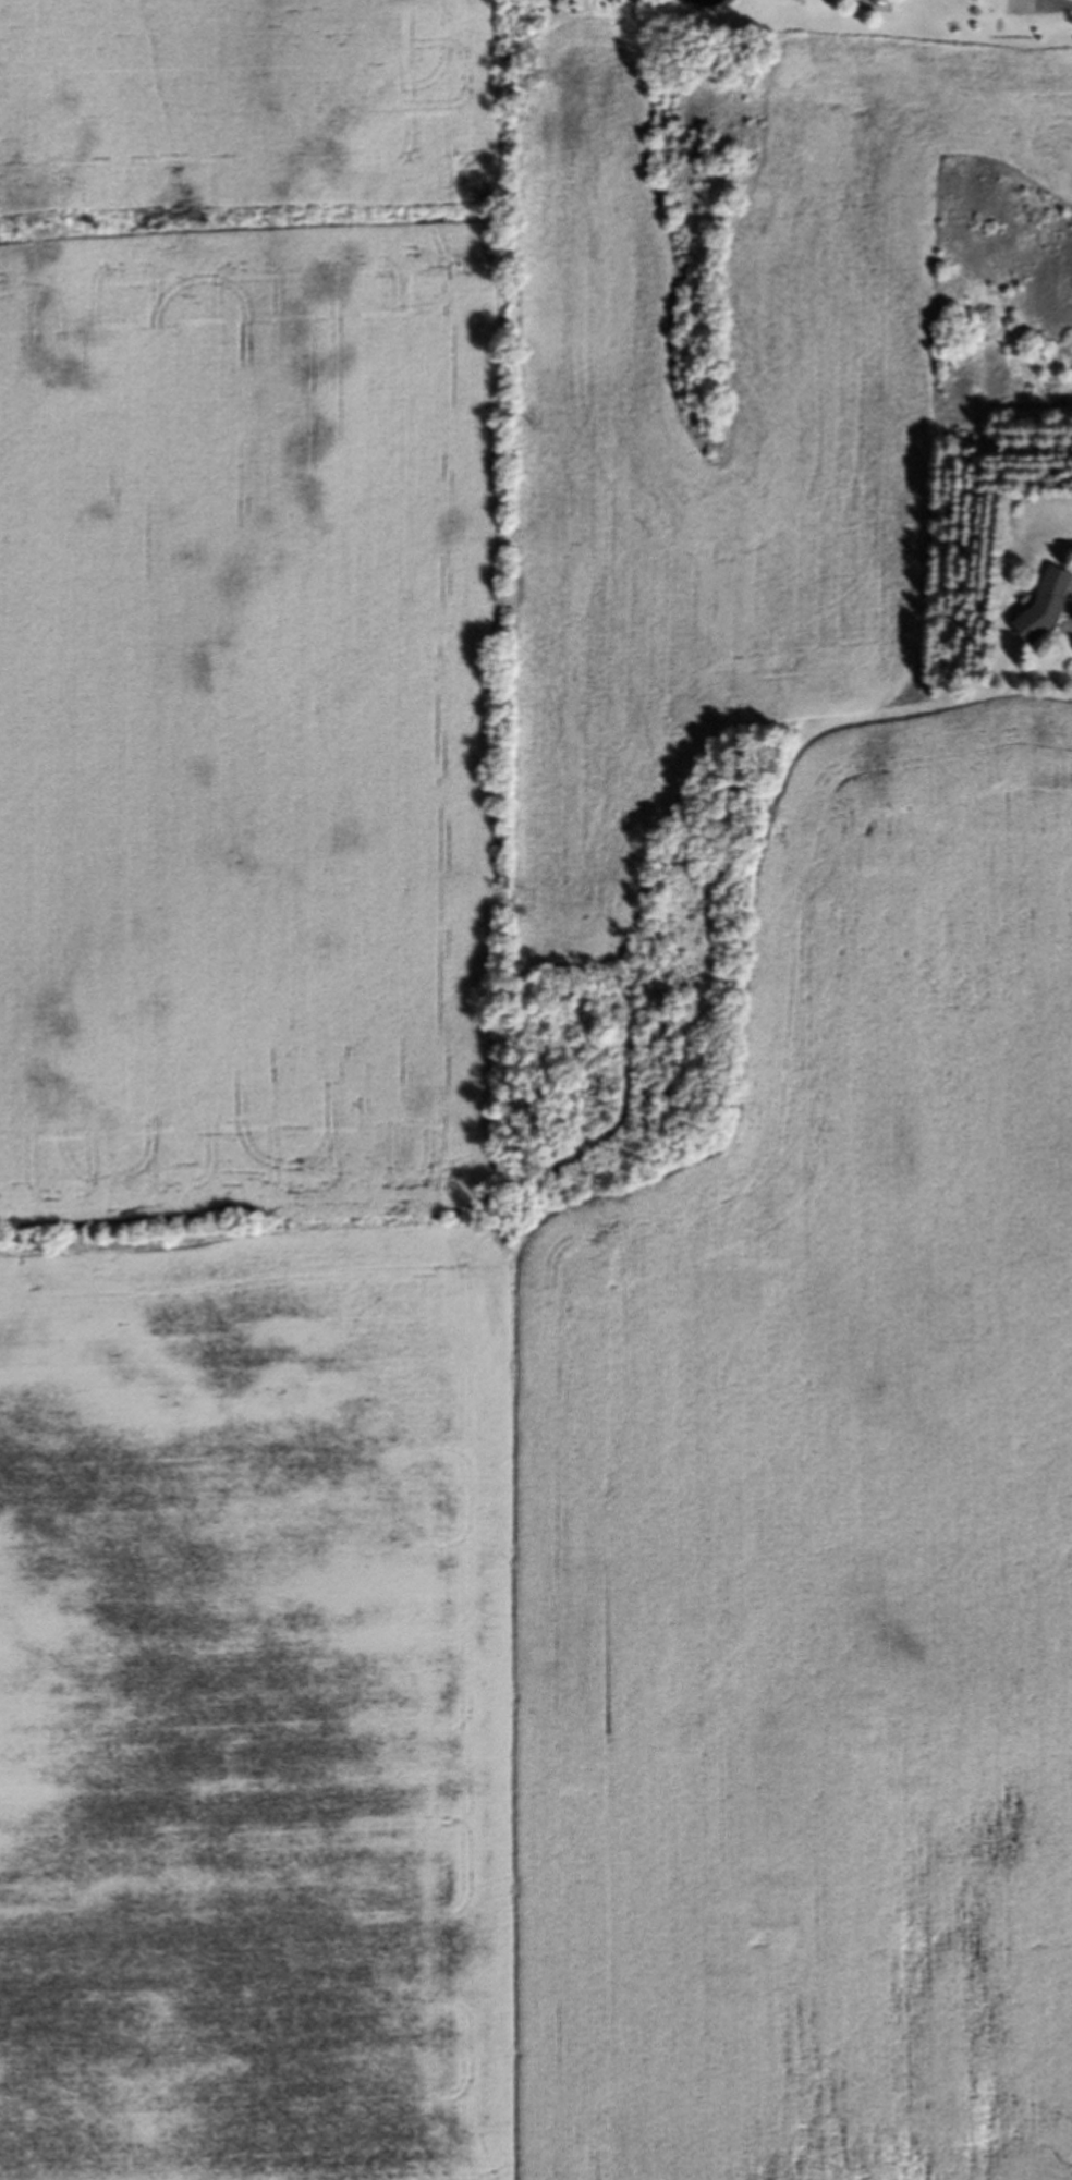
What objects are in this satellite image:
road: (1061, 3)
building: (1039, 608)

